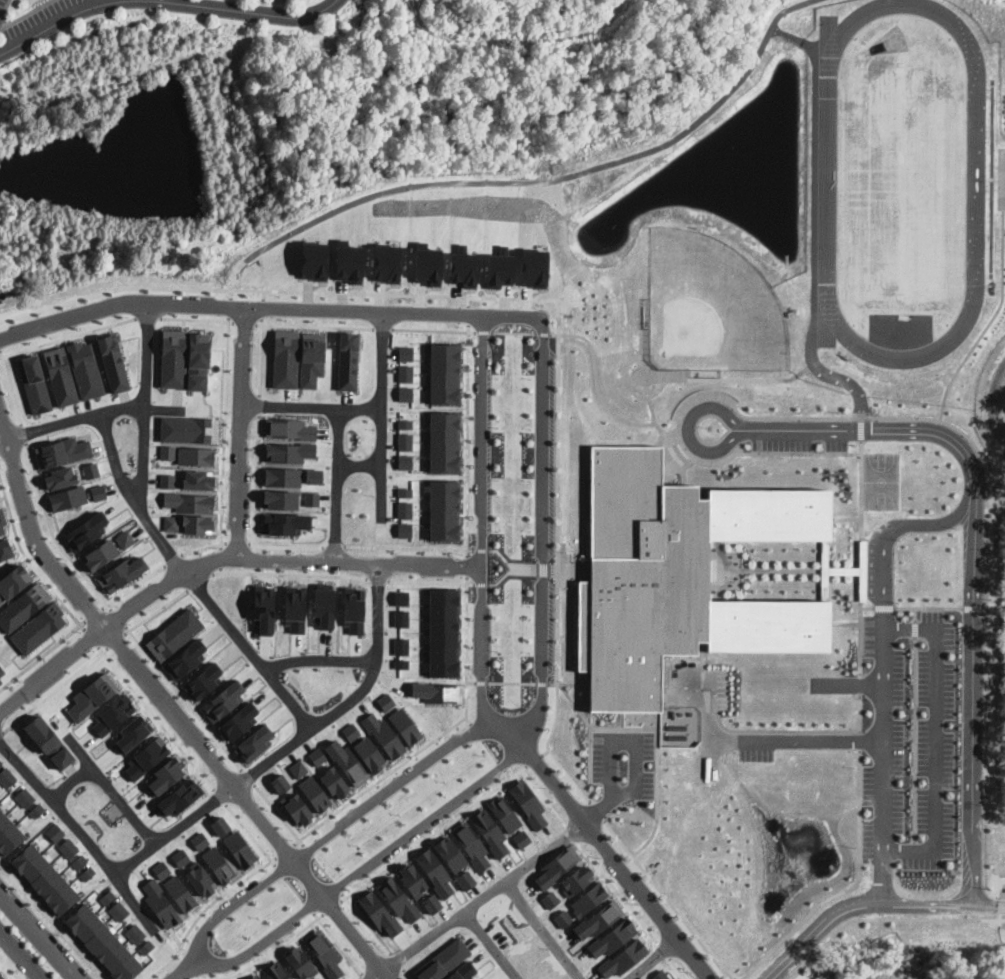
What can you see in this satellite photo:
road: (164, 1)
road: (4, 6)
road: (24, 13)
road: (1, 24)
park: (901, 180)
road: (538, 181)
track: (900, 181)
road: (1002, 292)
road: (230, 293)
road: (263, 294)
park: (712, 295)
road: (537, 298)
road: (468, 301)
road: (228, 306)
road: (268, 306)
road: (261, 308)
road: (468, 314)
road: (197, 319)
road: (245, 323)
road: (314, 325)
road: (642, 326)
road: (382, 328)
road: (430, 329)
road: (472, 331)
road: (483, 332)
road: (513, 332)
road: (543, 333)
road: (67, 337)
building: (406, 353)
road: (260, 356)
building: (173, 358)
building: (285, 358)
building: (311, 358)
building: (198, 360)
road: (632, 360)
building: (347, 362)
building: (113, 363)
building: (84, 369)
building: (405, 373)
building: (445, 373)
building: (60, 375)
road: (713, 379)
building: (34, 384)
road: (10, 387)
road: (597, 388)
building: (405, 393)
road: (259, 404)
road: (199, 406)
road: (164, 408)
road: (361, 409)
road: (130, 416)
road: (858, 417)
building: (405, 423)
building: (289, 428)
road: (861, 428)
road: (864, 428)
road: (22, 429)
building: (189, 429)
road: (241, 430)
road: (224, 432)
road: (3, 437)
road: (467, 439)
road: (661, 439)
building: (405, 441)
building: (445, 442)
road: (13, 446)
building: (62, 452)
building: (167, 452)
building: (289, 452)
road: (797, 453)
building: (196, 456)
road: (381, 458)
building: (405, 461)
road: (684, 469)
building: (91, 470)
road: (118, 473)
building: (283, 476)
building: (314, 476)
building: (60, 477)
building: (167, 480)
building: (197, 480)
road: (256, 481)
park: (880, 481)
road: (339, 484)
road: (861, 485)
building: (98, 492)
building: (404, 492)
road: (381, 494)
building: (67, 498)
road: (144, 499)
building: (281, 499)
building: (311, 499)
building: (189, 502)
building: (405, 510)
building: (445, 510)
road: (845, 518)
building: (2, 522)
building: (171, 522)
building: (284, 522)
building: (197, 523)
road: (50, 530)
road: (385, 530)
building: (405, 530)
building: (85, 531)
road: (889, 532)
building: (125, 538)
road: (237, 541)
road: (288, 546)
road: (203, 547)
road: (421, 548)
building: (5, 549)
road: (471, 549)
road: (481, 549)
building: (101, 554)
road: (215, 558)
road: (220, 558)
road: (172, 559)
road: (29, 561)
road: (510, 563)
road: (467, 565)
road: (860, 567)
road: (542, 568)
road: (553, 569)
road: (573, 569)
road: (785, 569)
road: (220, 570)
building: (120, 573)
building: (680, 573)
road: (288, 574)
road: (501, 578)
building: (13, 581)
road: (198, 581)
road: (471, 584)
road: (481, 584)
road: (133, 585)
building: (0, 604)
building: (324, 604)
building: (23, 606)
road: (866, 607)
road: (883, 607)
building: (264, 608)
building: (295, 608)
road: (928, 608)
road: (973, 608)
building: (354, 609)
road: (155, 611)
road: (385, 611)
road: (94, 614)
road: (915, 614)
road: (118, 618)
building: (38, 628)
road: (915, 629)
road: (466, 630)
building: (174, 634)
road: (90, 637)
road: (115, 640)
road: (860, 641)
road: (6, 648)
road: (42, 655)
road: (372, 656)
building: (184, 659)
building: (1, 671)
park: (991, 679)
building: (0, 680)
building: (204, 680)
road: (276, 682)
road: (470, 682)
road: (480, 682)
road: (511, 683)
road: (542, 683)
road: (569, 683)
road: (860, 684)
road: (54, 689)
building: (437, 691)
building: (92, 696)
road: (184, 697)
road: (972, 699)
building: (222, 701)
building: (385, 701)
road: (466, 701)
road: (173, 709)
road: (860, 713)
building: (113, 714)
road: (155, 717)
road: (468, 720)
building: (239, 721)
building: (404, 725)
road: (509, 726)
road: (589, 727)
road: (783, 730)
road: (511, 731)
building: (133, 732)
building: (350, 732)
road: (476, 732)
road: (1, 733)
building: (384, 736)
road: (635, 738)
road: (935, 738)
road: (914, 739)
building: (48, 741)
road: (860, 741)
road: (798, 742)
parking lot: (911, 742)
building: (254, 744)
road: (490, 751)
building: (369, 754)
building: (317, 756)
building: (146, 757)
building: (0, 762)
road: (657, 762)
building: (347, 763)
parking lot: (624, 764)
road: (884, 766)
building: (298, 769)
building: (164, 775)
building: (6, 777)
road: (248, 777)
road: (379, 780)
building: (334, 781)
road: (106, 783)
building: (281, 783)
building: (314, 793)
building: (180, 796)
road: (220, 796)
building: (24, 797)
building: (527, 802)
road: (600, 807)
building: (297, 808)
building: (36, 810)
road: (597, 810)
road: (279, 815)
building: (220, 825)
building: (489, 831)
building: (54, 832)
road: (250, 833)
building: (8, 834)
building: (199, 840)
building: (470, 844)
building: (68, 848)
building: (239, 849)
road: (284, 850)
road: (308, 851)
road: (410, 851)
road: (610, 852)
building: (449, 853)
building: (180, 857)
building: (79, 861)
road: (107, 864)
building: (217, 864)
road: (525, 867)
building: (162, 869)
road: (323, 869)
road: (280, 870)
building: (434, 871)
building: (87, 873)
building: (44, 879)
building: (200, 879)
building: (413, 880)
building: (465, 880)
road: (336, 886)
road: (850, 888)
road: (295, 889)
building: (180, 893)
road: (28, 895)
building: (107, 897)
road: (219, 897)
road: (141, 898)
road: (667, 898)
building: (398, 899)
building: (589, 899)
road: (988, 902)
building: (160, 903)
building: (432, 903)
road: (855, 905)
road: (309, 906)
road: (331, 907)
building: (118, 910)
building: (379, 914)
road: (458, 915)
building: (563, 918)
road: (886, 919)
road: (366, 923)
road: (310, 924)
road: (545, 930)
building: (135, 933)
road: (40, 935)
road: (338, 943)
building: (101, 945)
building: (146, 946)
building: (323, 953)
road: (22, 954)
building: (624, 958)
building: (442, 959)
road: (653, 959)
road: (397, 961)
building: (300, 962)
building: (276, 970)
road: (180, 971)
road: (239, 971)
building: (462, 971)
road: (375, 973)
road: (406, 974)
building: (661, 975)
road: (364, 976)
building: (1, 977)
building: (255, 977)
building: (317, 978)
building: (648, 978)

